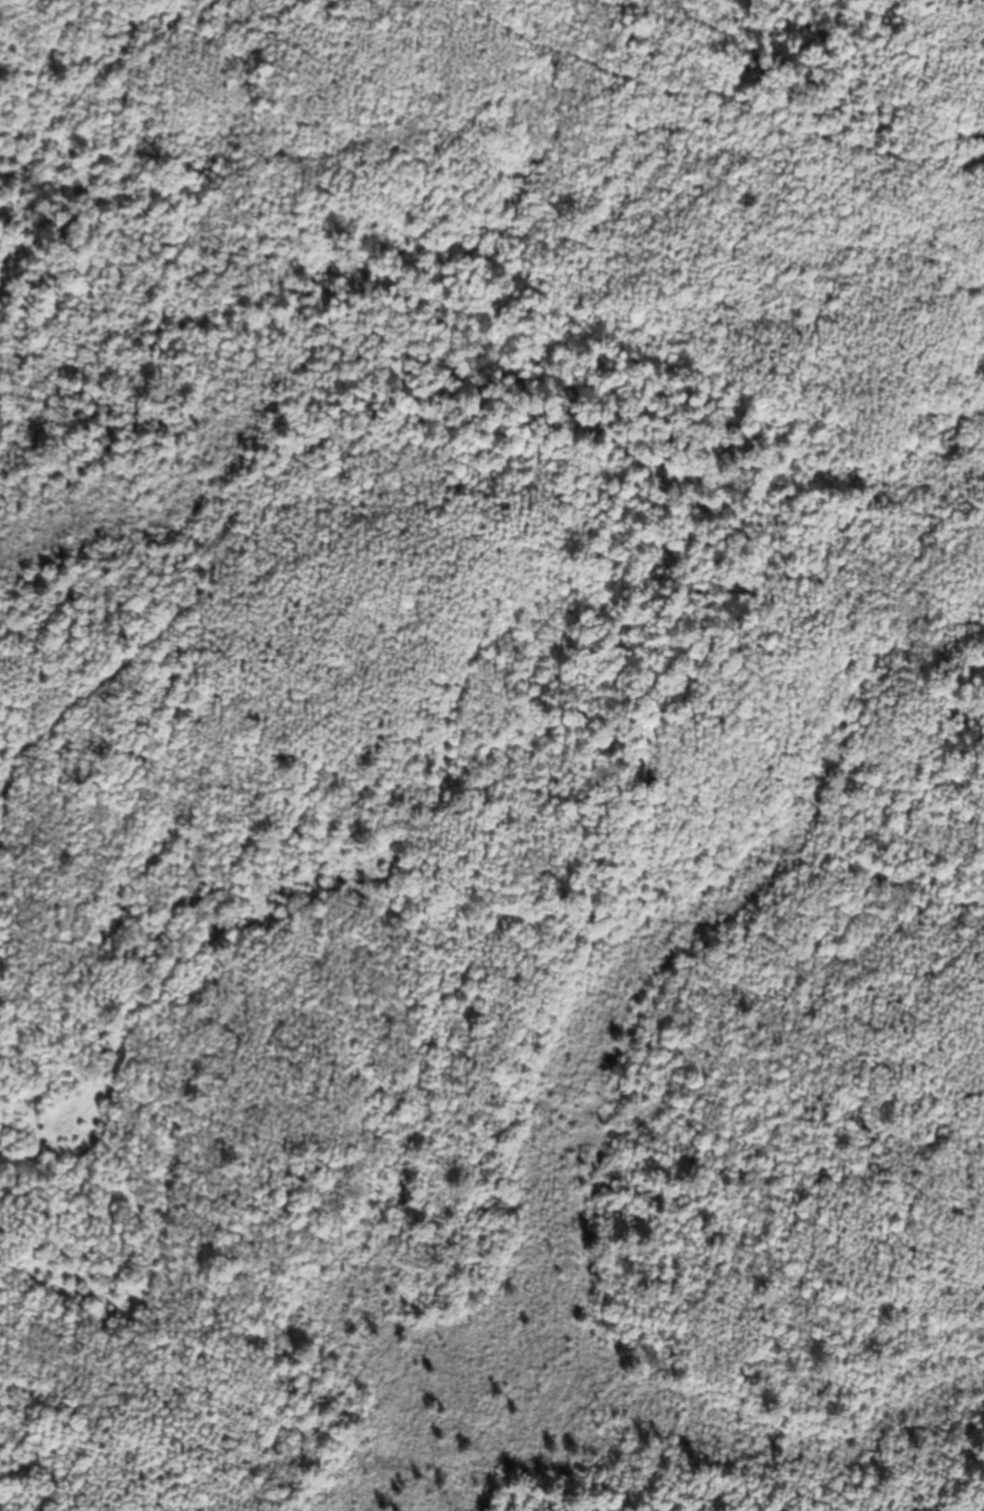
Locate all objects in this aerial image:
road: (977, 1506)

